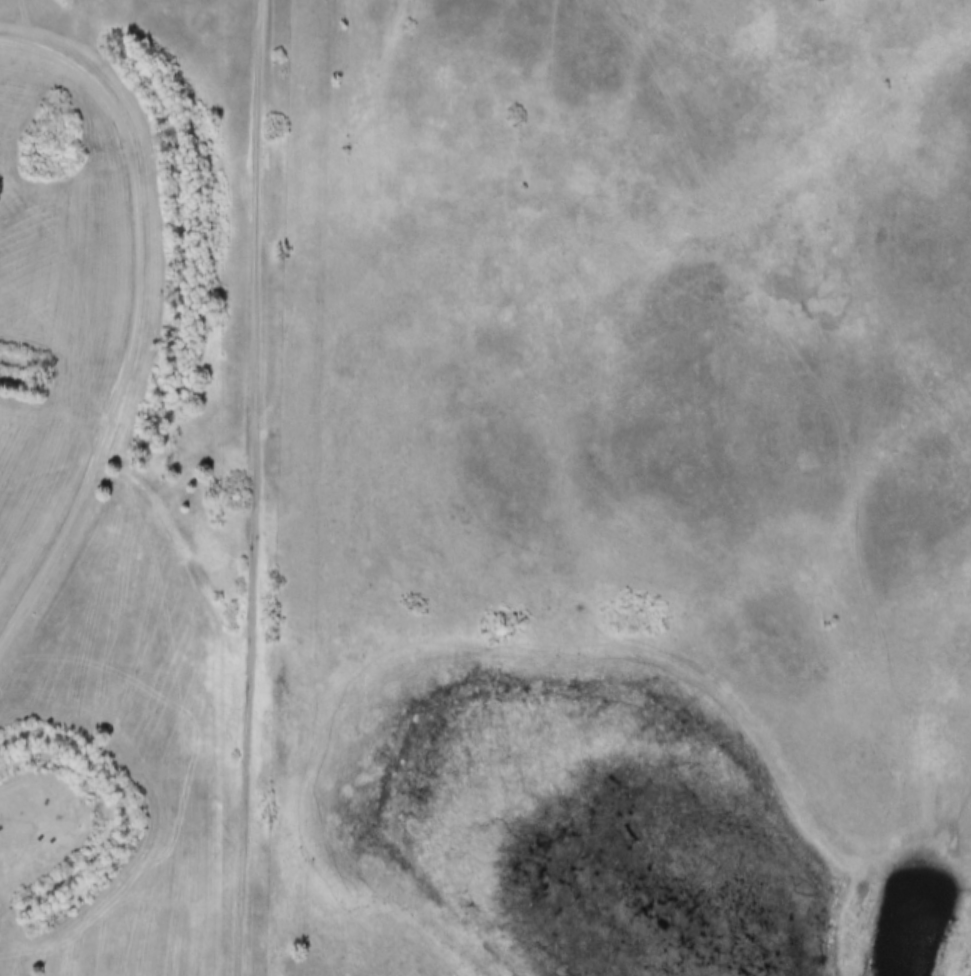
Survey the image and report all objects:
road: (134, 324)
road: (253, 487)
building: (38, 832)

